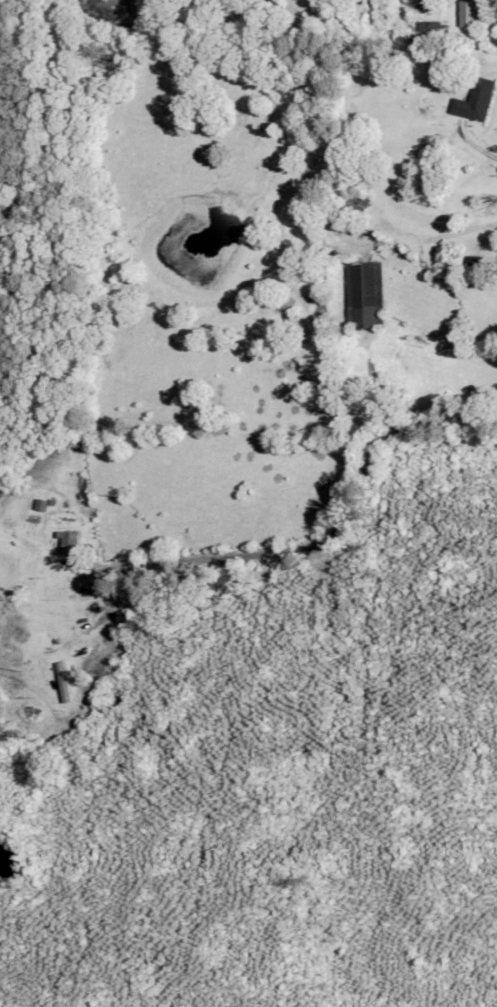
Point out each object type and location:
building: (472, 14)
building: (476, 100)
road: (496, 174)
building: (356, 201)
building: (365, 294)
road: (323, 535)
building: (71, 542)
building: (70, 641)

